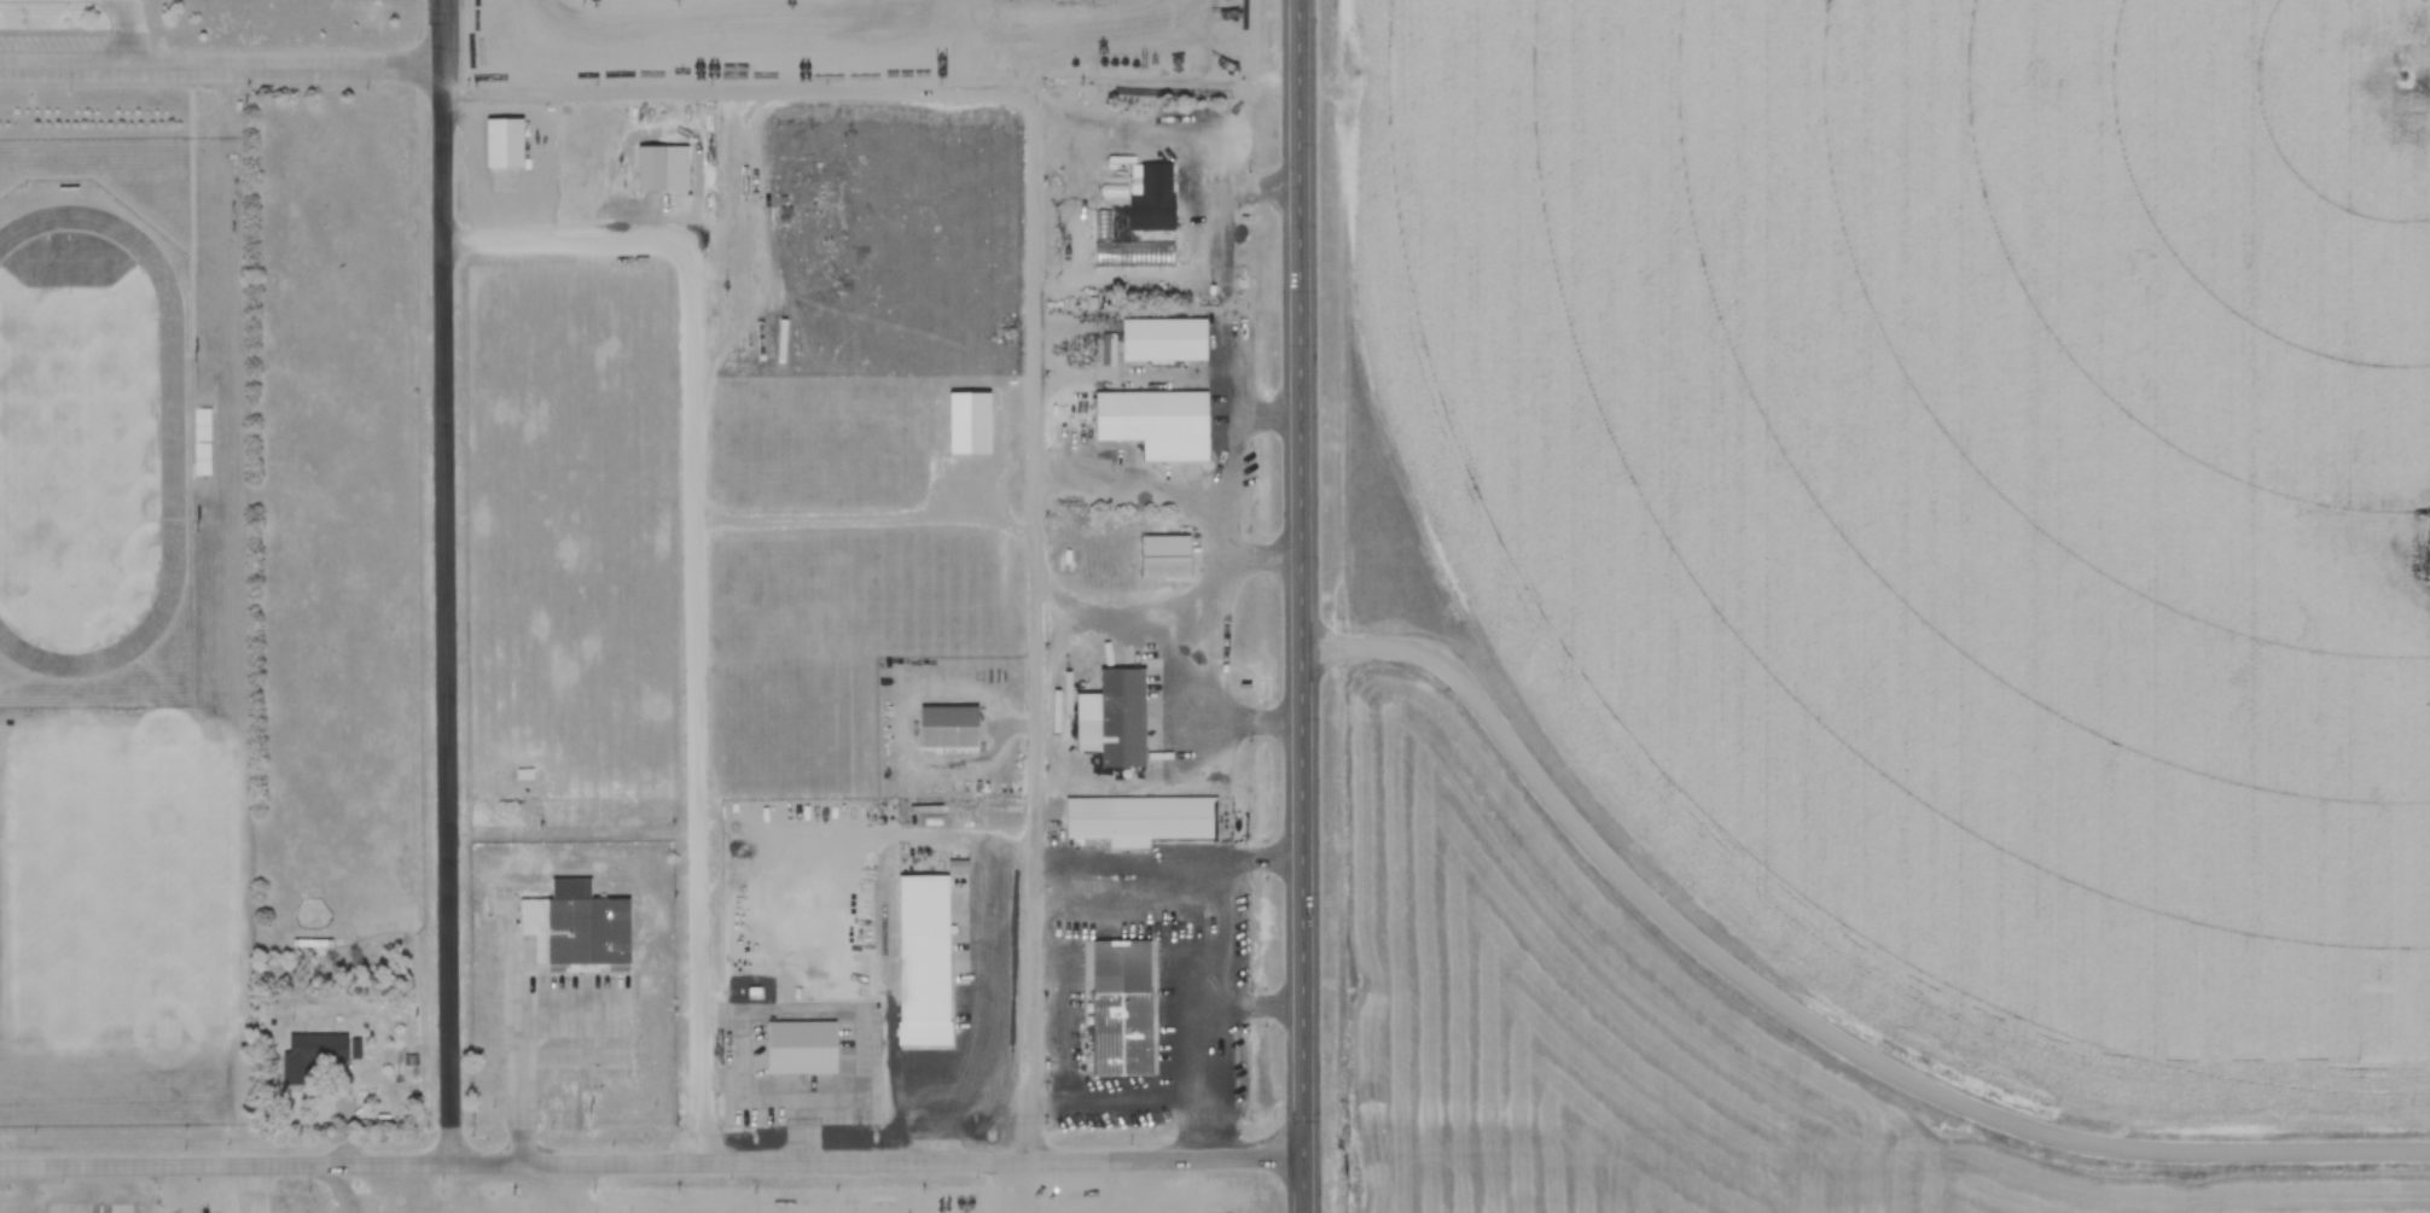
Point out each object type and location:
road: (126, 31)
road: (222, 64)
road: (740, 95)
building: (1151, 199)
building: (1162, 340)
building: (1155, 424)
building: (199, 436)
track: (83, 442)
park: (79, 447)
building: (1164, 558)
road: (444, 582)
road: (1302, 606)
road: (1039, 626)
building: (1112, 718)
building: (947, 727)
building: (524, 775)
building: (1144, 818)
building: (575, 926)
building: (924, 962)
building: (1120, 1009)
road: (1804, 1016)
airport: (1638, 1040)
building: (313, 1051)
building: (687, 1079)
road: (652, 1162)
road: (255, 1189)

